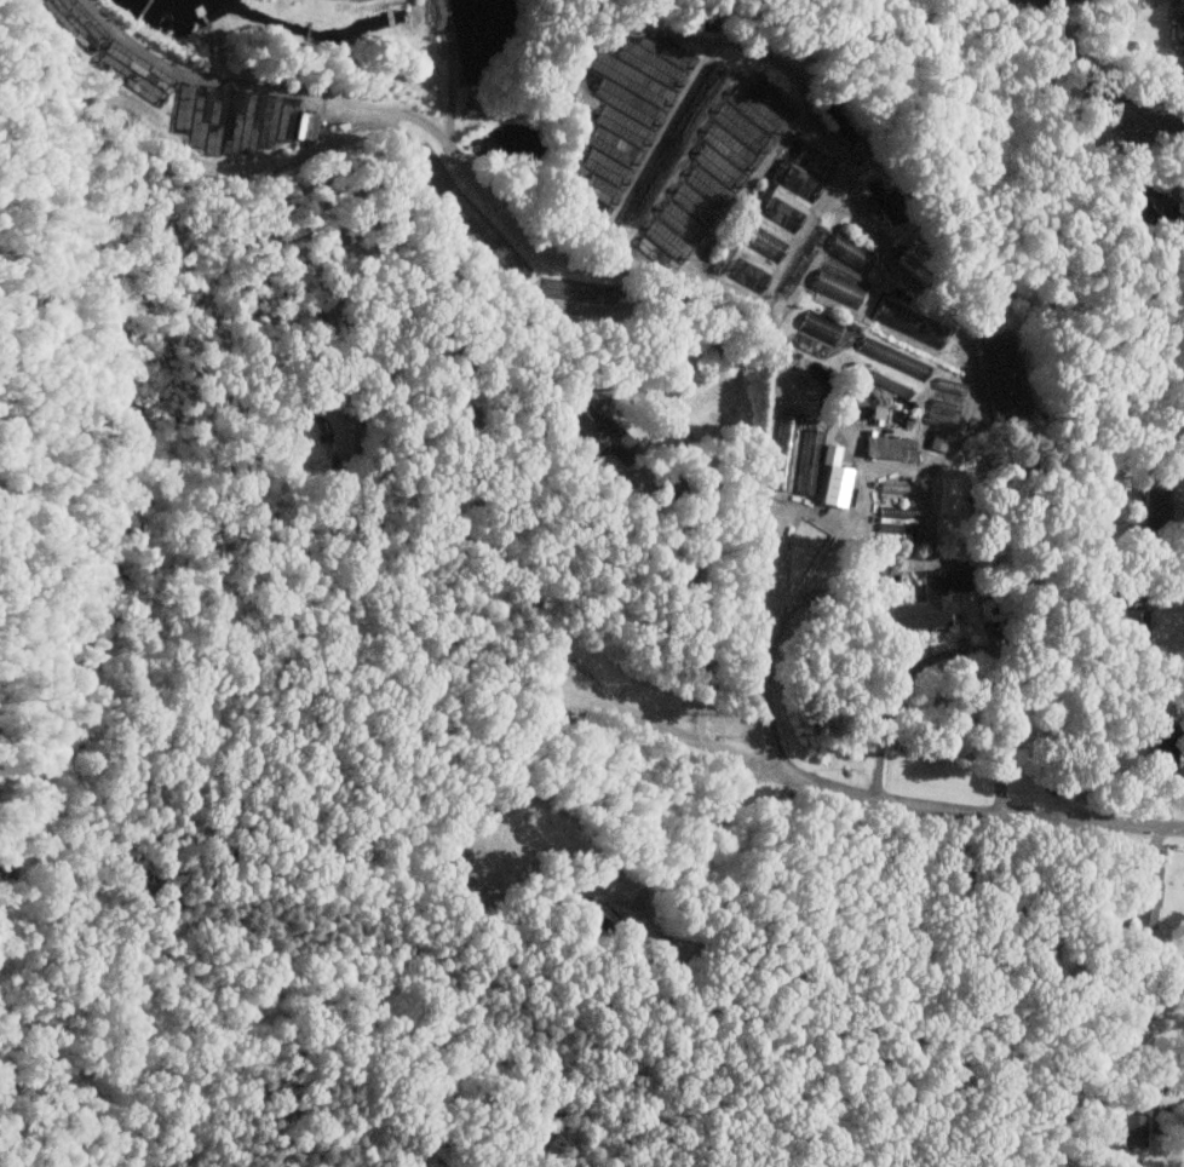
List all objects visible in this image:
building: (1177, 25)
road: (579, 61)
building: (133, 70)
road: (449, 74)
road: (801, 94)
building: (699, 103)
building: (627, 110)
building: (235, 119)
building: (740, 131)
road: (660, 136)
road: (1173, 162)
building: (650, 185)
building: (801, 190)
road: (857, 214)
building: (683, 215)
building: (730, 245)
road: (797, 246)
road: (605, 272)
building: (747, 274)
building: (815, 326)
building: (858, 369)
building: (948, 387)
building: (999, 401)
building: (868, 412)
building: (939, 413)
building: (592, 429)
building: (339, 430)
building: (933, 441)
building: (887, 448)
building: (807, 460)
building: (946, 494)
building: (1153, 502)
road: (844, 519)
road: (706, 535)
road: (492, 553)
road: (895, 553)
road: (936, 557)
building: (924, 602)
building: (1127, 627)
road: (896, 691)
road: (869, 798)
road: (701, 834)
building: (1144, 895)
building: (1127, 1128)

